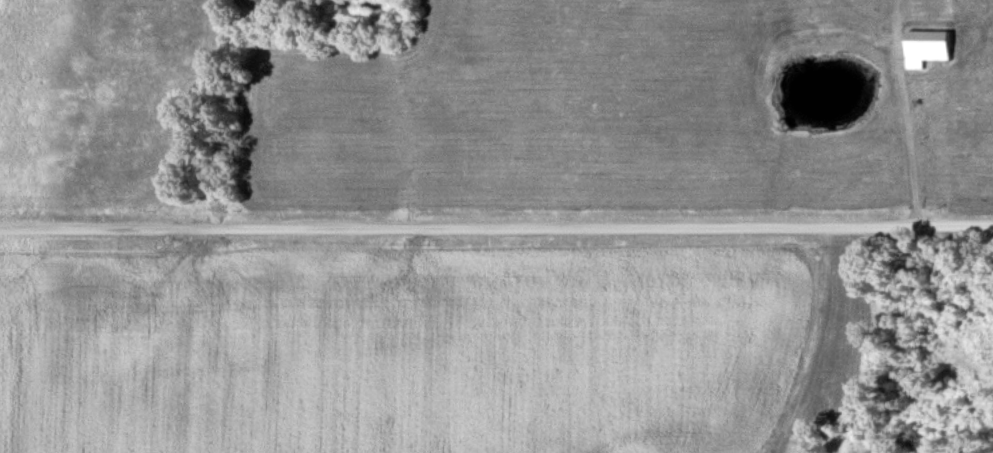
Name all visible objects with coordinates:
building: (933, 46)
road: (496, 226)

